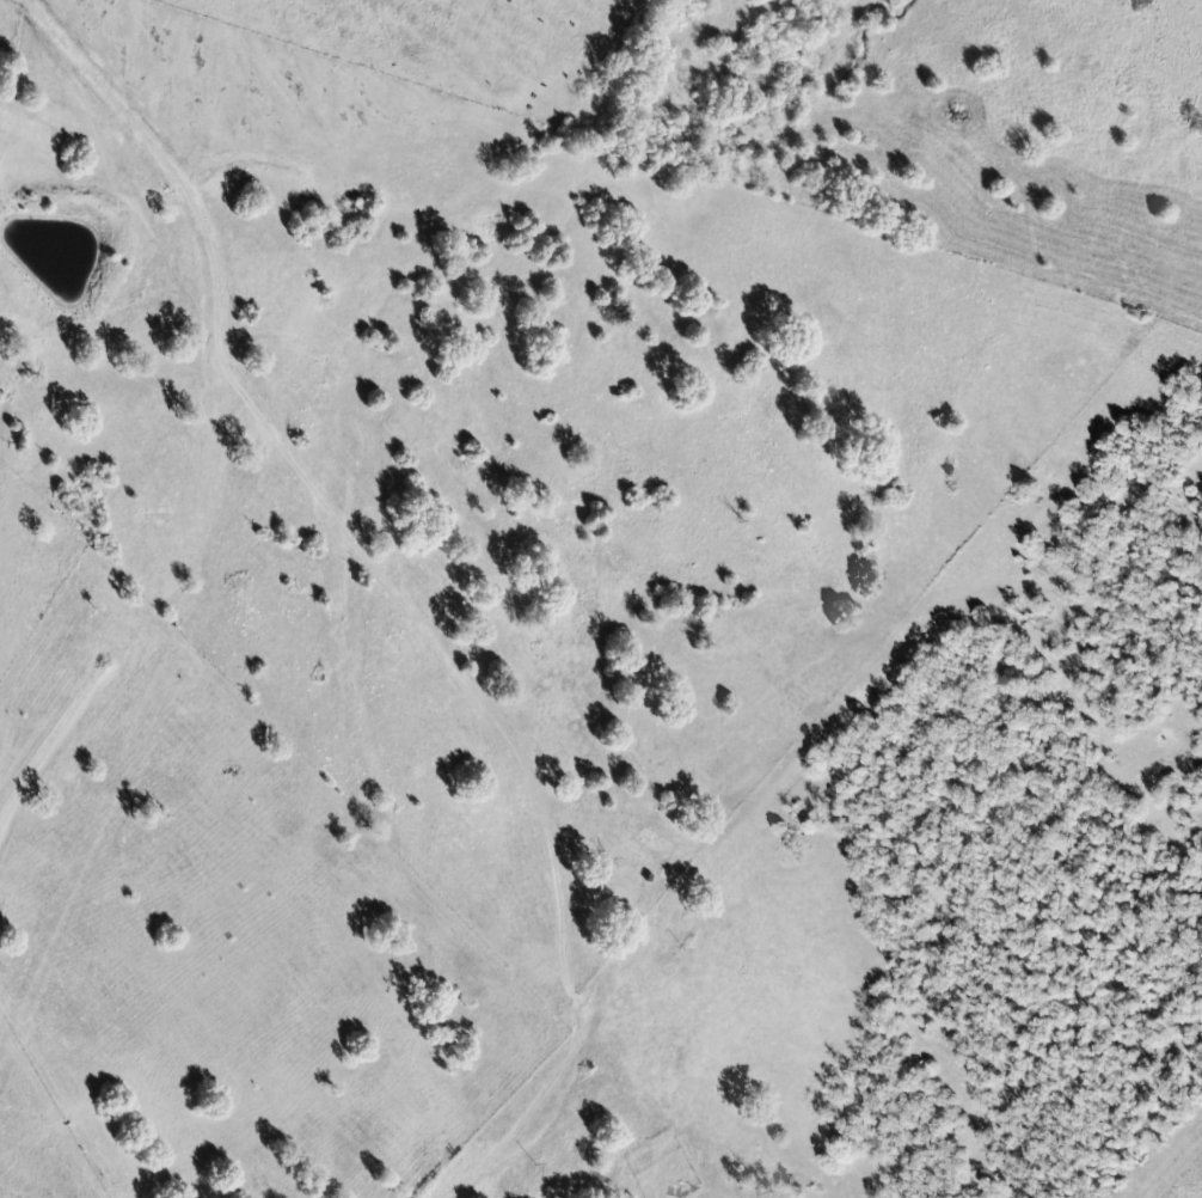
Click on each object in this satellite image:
road: (415, 617)

